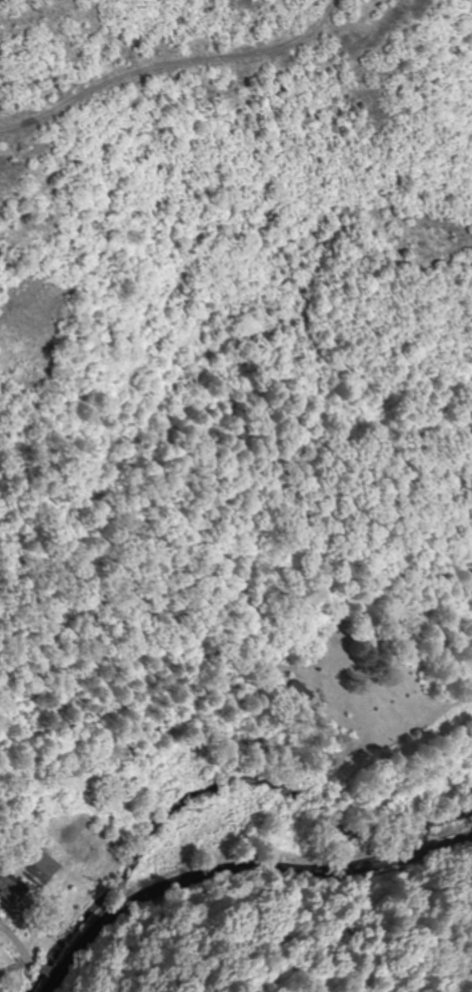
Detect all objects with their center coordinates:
park: (367, 673)
building: (288, 693)
road: (241, 868)
building: (9, 889)

